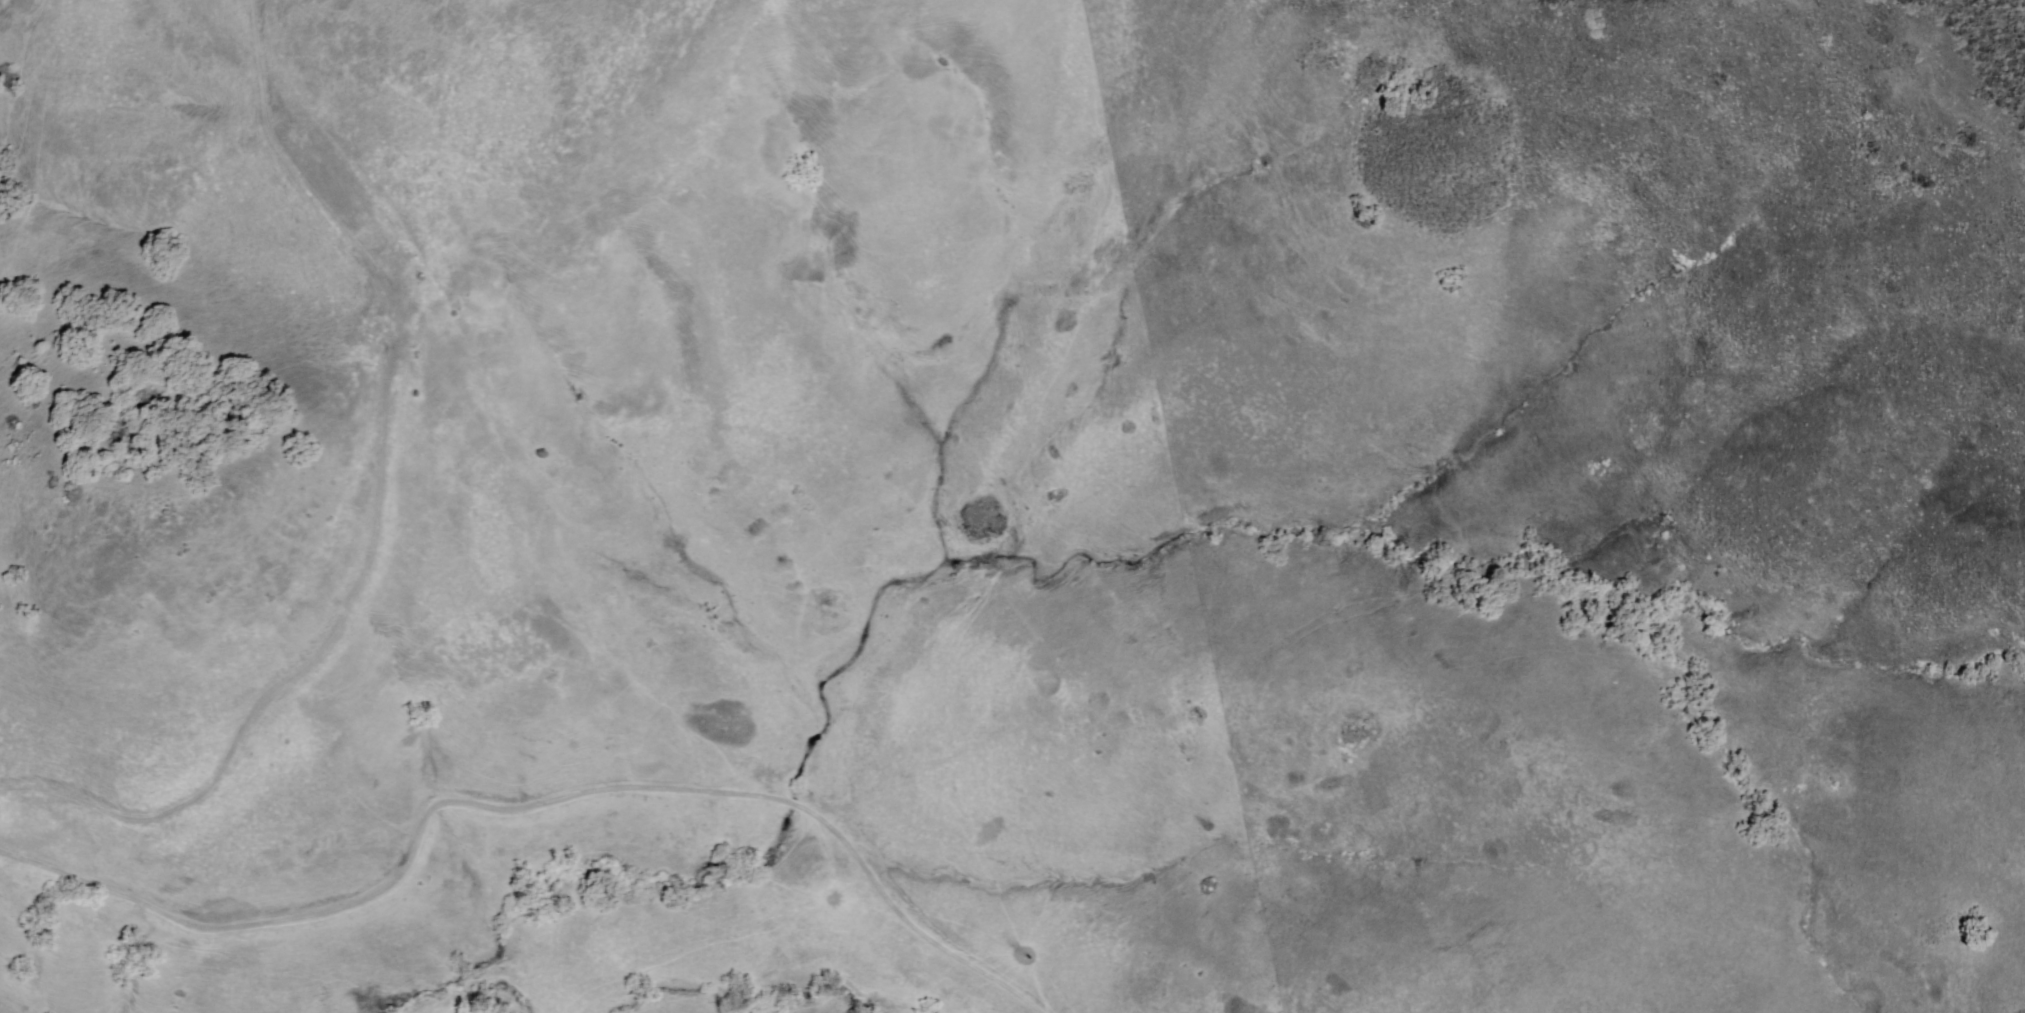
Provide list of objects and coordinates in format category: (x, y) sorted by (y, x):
road: (288, 677)
road: (528, 809)

